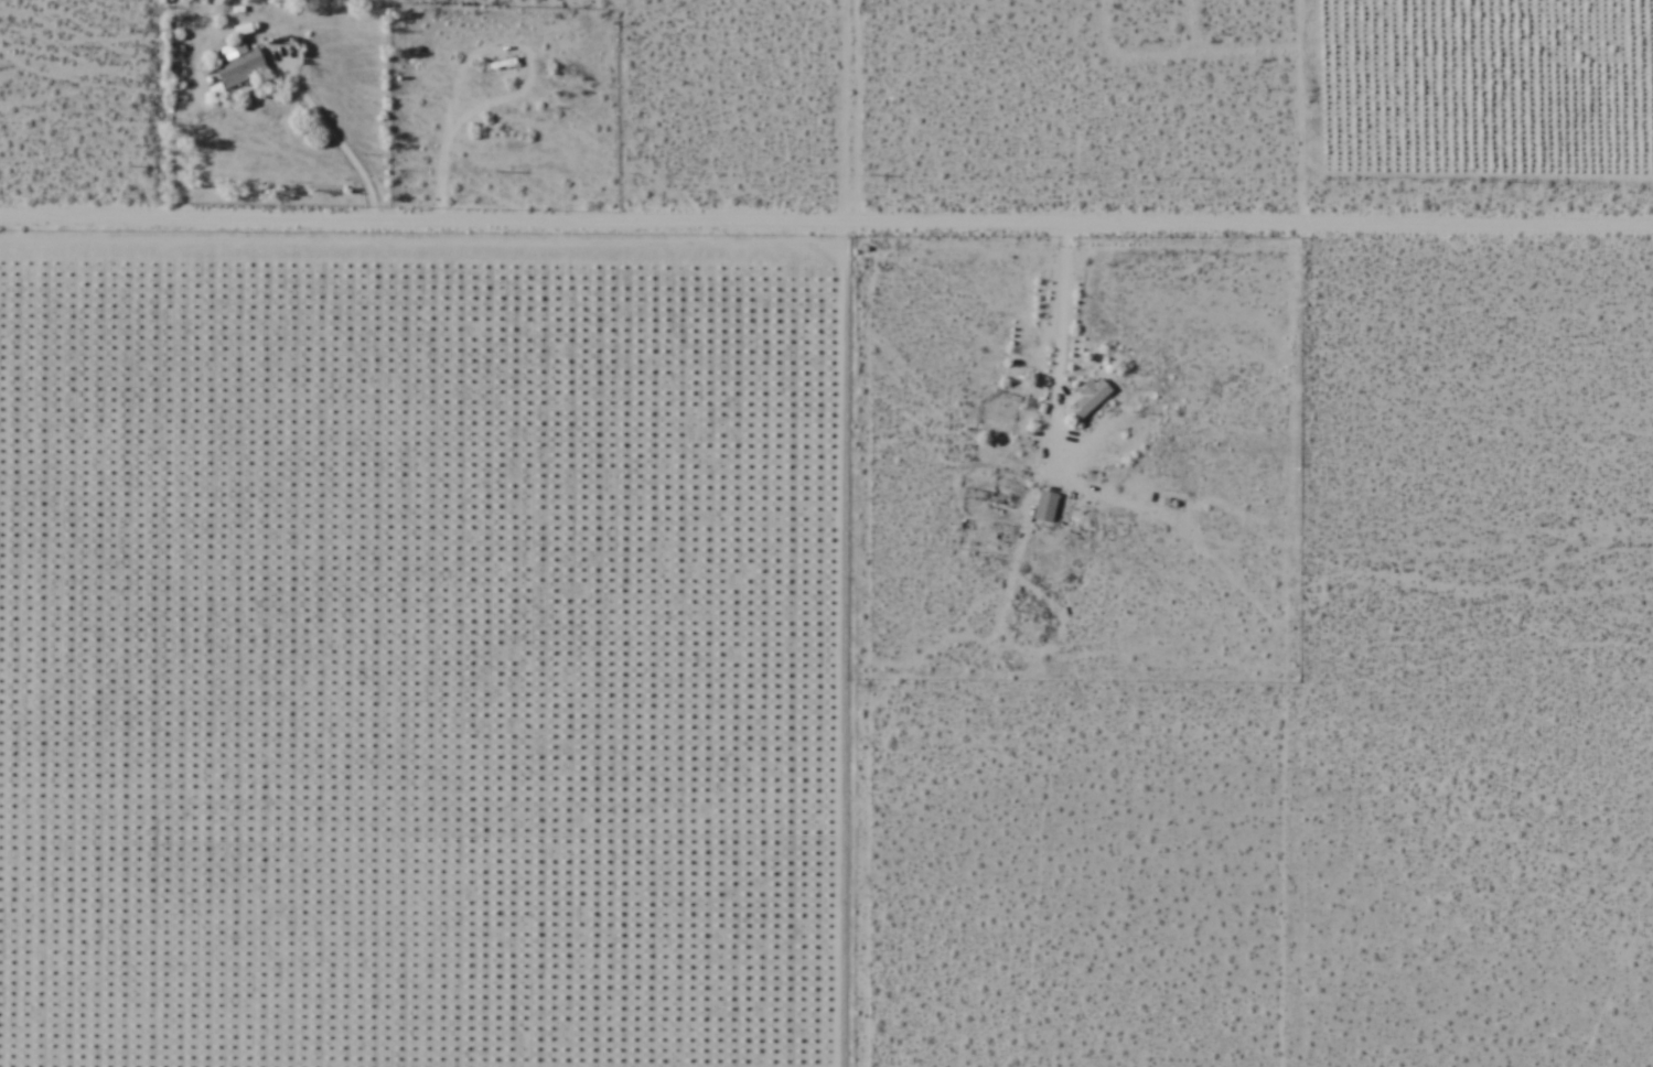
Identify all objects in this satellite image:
building: (237, 63)
road: (826, 225)
building: (1087, 398)
building: (1051, 508)
road: (833, 646)

